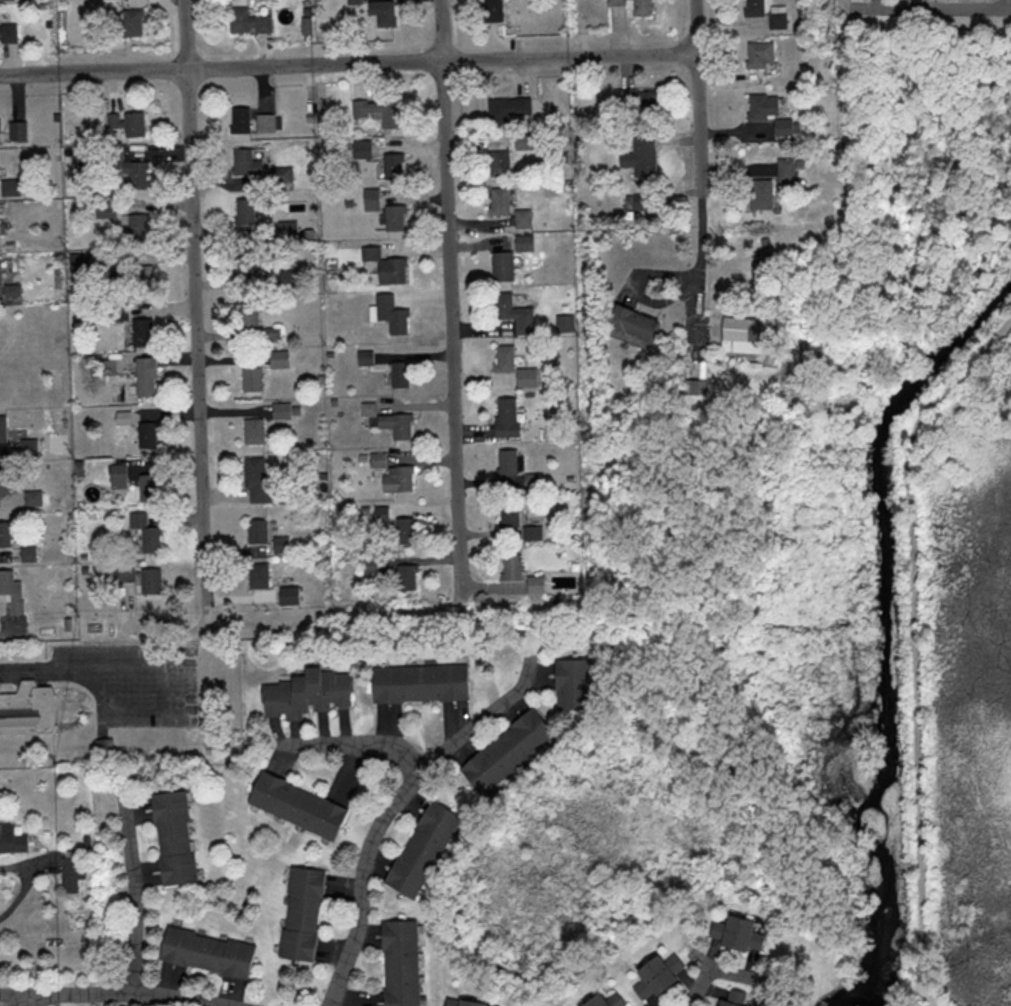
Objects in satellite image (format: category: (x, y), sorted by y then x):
building: (7, 0)
building: (632, 6)
building: (754, 8)
road: (931, 9)
building: (490, 11)
building: (380, 13)
building: (246, 22)
building: (130, 23)
building: (8, 30)
building: (758, 55)
road: (349, 64)
road: (697, 96)
building: (636, 101)
building: (506, 108)
building: (378, 113)
building: (767, 113)
building: (237, 121)
building: (126, 123)
building: (264, 124)
building: (19, 131)
building: (639, 158)
building: (498, 163)
building: (244, 164)
building: (391, 167)
building: (131, 174)
building: (282, 178)
road: (882, 182)
building: (784, 183)
building: (759, 195)
building: (369, 200)
building: (497, 202)
building: (104, 209)
building: (243, 212)
building: (392, 218)
building: (521, 219)
building: (0, 221)
building: (133, 228)
building: (286, 230)
building: (522, 243)
building: (762, 249)
road: (698, 257)
building: (243, 265)
building: (385, 267)
building: (500, 267)
building: (134, 278)
building: (8, 280)
road: (451, 291)
road: (193, 308)
building: (512, 313)
building: (250, 315)
building: (390, 315)
building: (629, 325)
building: (146, 330)
building: (276, 332)
building: (750, 335)
building: (281, 358)
building: (502, 358)
building: (398, 374)
building: (149, 375)
building: (525, 377)
building: (253, 378)
building: (283, 409)
building: (504, 417)
building: (399, 424)
building: (4, 428)
building: (255, 430)
building: (149, 435)
building: (513, 472)
building: (139, 477)
building: (400, 478)
building: (5, 480)
building: (259, 480)
building: (35, 498)
park: (932, 499)
building: (509, 513)
building: (407, 529)
building: (258, 531)
building: (148, 532)
building: (536, 532)
building: (6, 534)
building: (283, 543)
building: (30, 554)
building: (514, 567)
building: (126, 573)
building: (260, 575)
building: (406, 577)
building: (153, 581)
building: (538, 584)
building: (13, 589)
building: (292, 595)
road: (915, 645)
road: (95, 665)
building: (423, 683)
building: (576, 683)
building: (311, 693)
building: (30, 706)
road: (130, 706)
road: (479, 724)
road: (350, 743)
building: (511, 750)
building: (301, 805)
building: (176, 837)
building: (14, 838)
building: (426, 848)
building: (76, 874)
road: (30, 879)
road: (363, 883)
road: (142, 896)
building: (304, 913)
building: (740, 932)
building: (210, 952)
building: (404, 963)
building: (662, 975)
road: (699, 987)
road: (29, 992)
road: (141, 993)
building: (737, 997)
road: (44, 1000)
building: (609, 1000)
building: (468, 1002)

